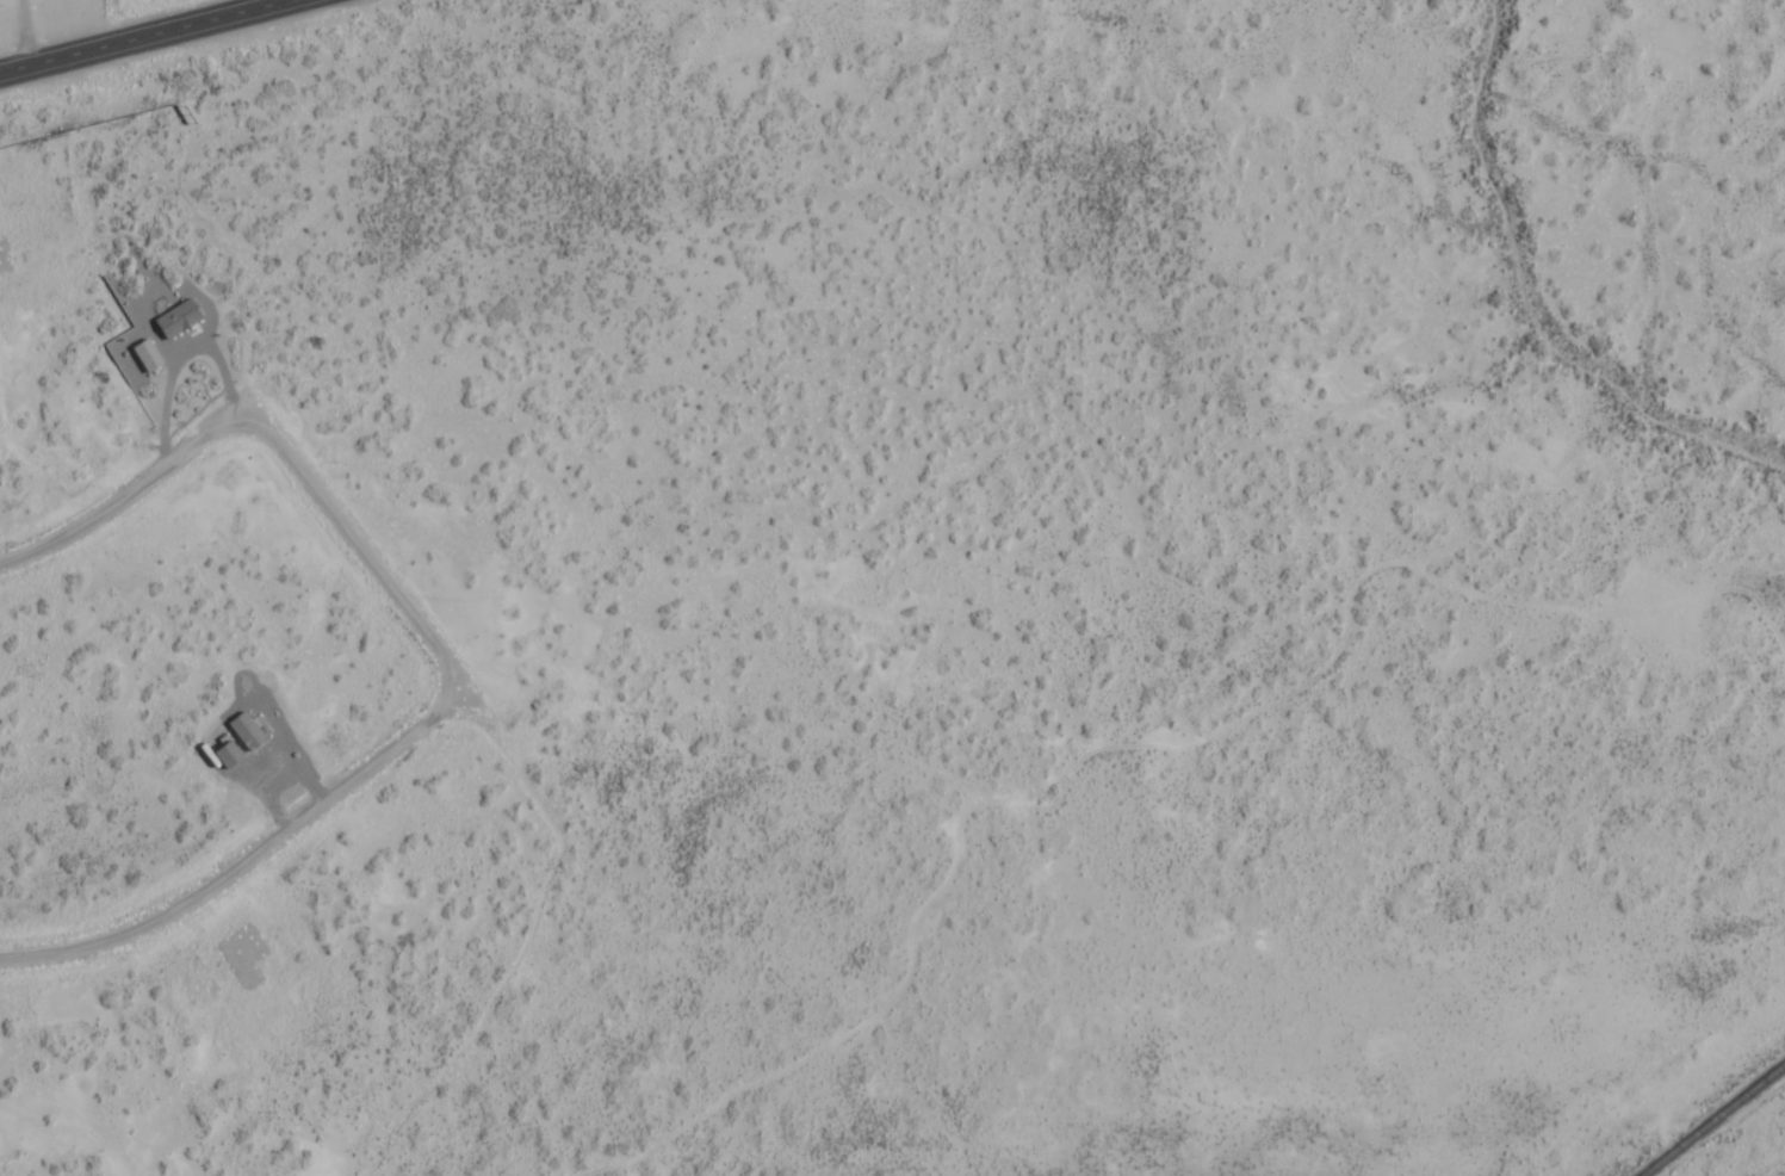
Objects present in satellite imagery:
road: (144, 36)
building: (181, 317)
building: (150, 354)
railway: (1715, 1121)

